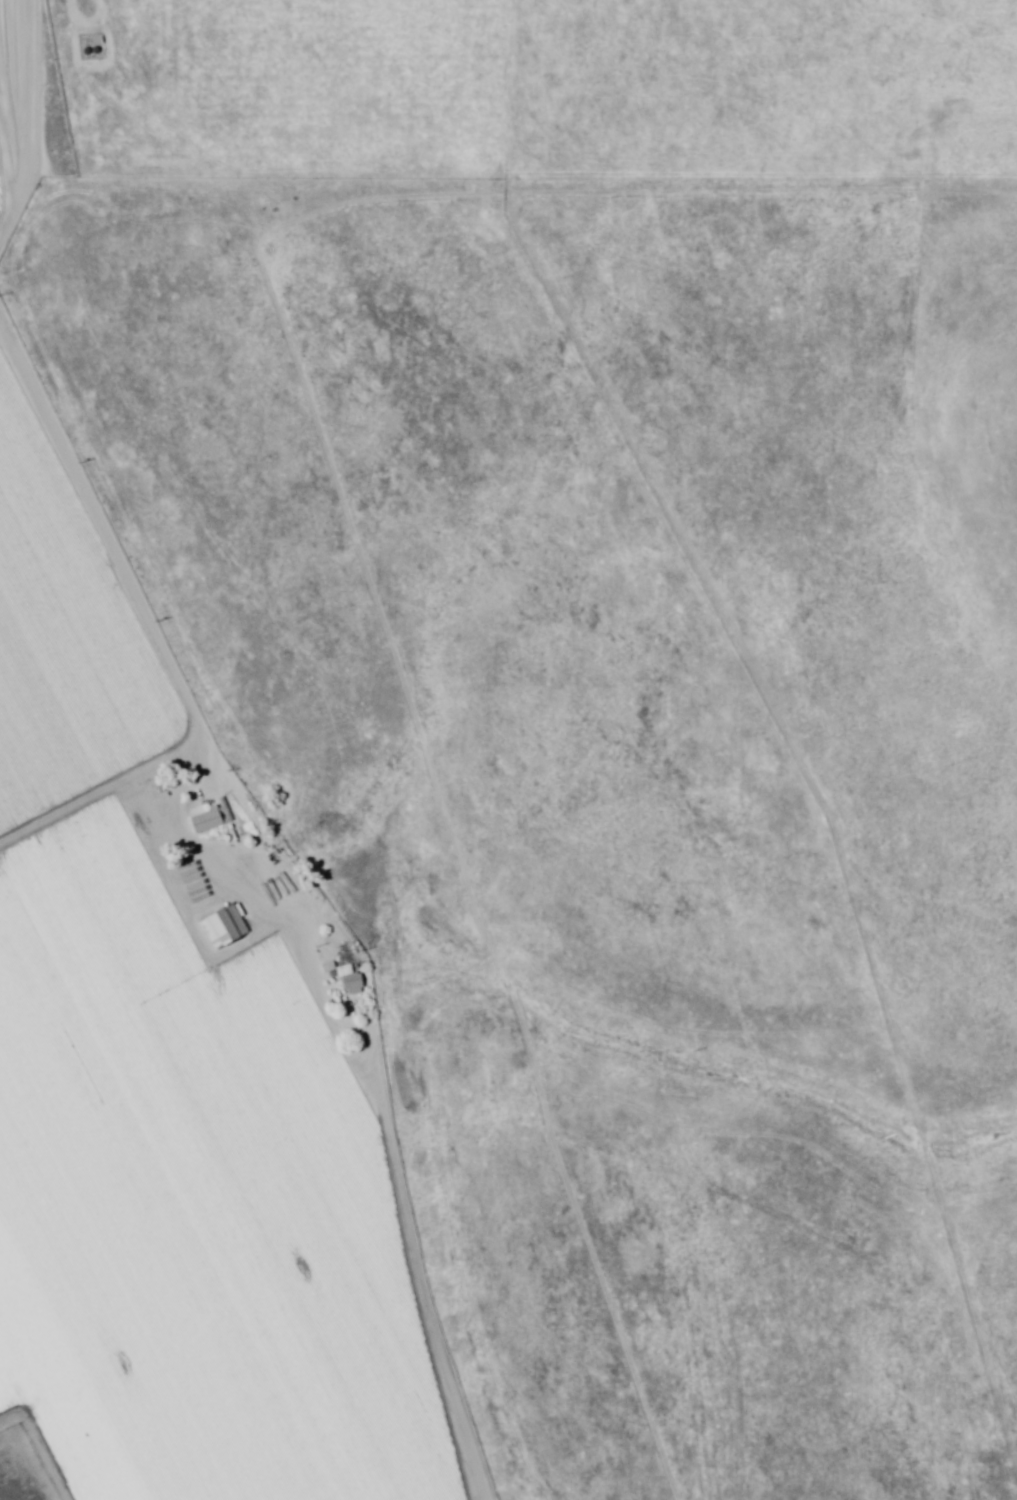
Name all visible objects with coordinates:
building: (205, 822)
building: (223, 928)
building: (349, 983)
road: (289, 992)
crop: (169, 1088)
road: (42, 1176)

